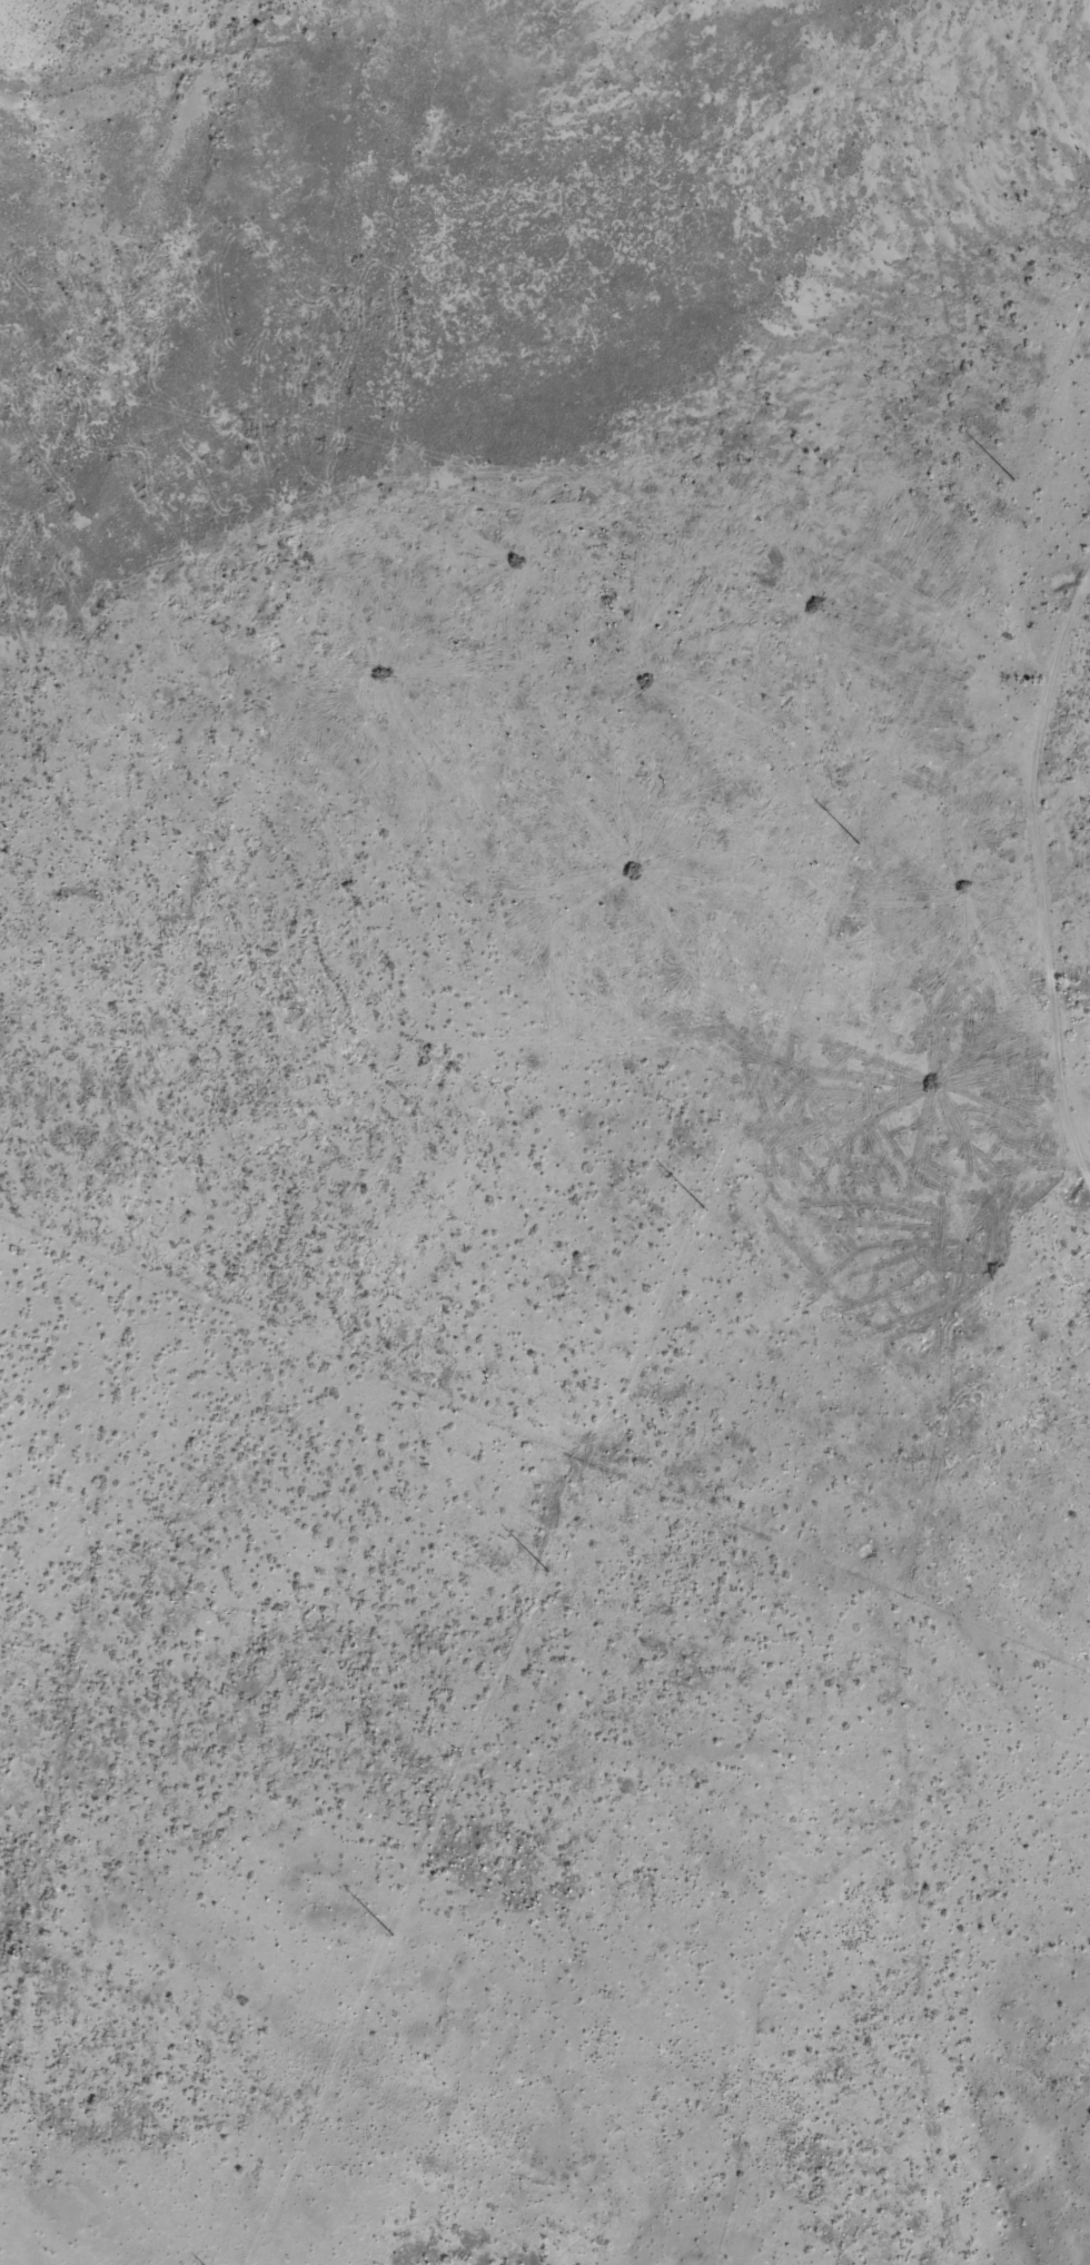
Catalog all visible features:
power tower: (1012, 478)
power tower: (856, 843)
power tower: (702, 1207)
road: (932, 1428)
power tower: (546, 1572)
power tower: (390, 1933)
road: (935, 2046)

